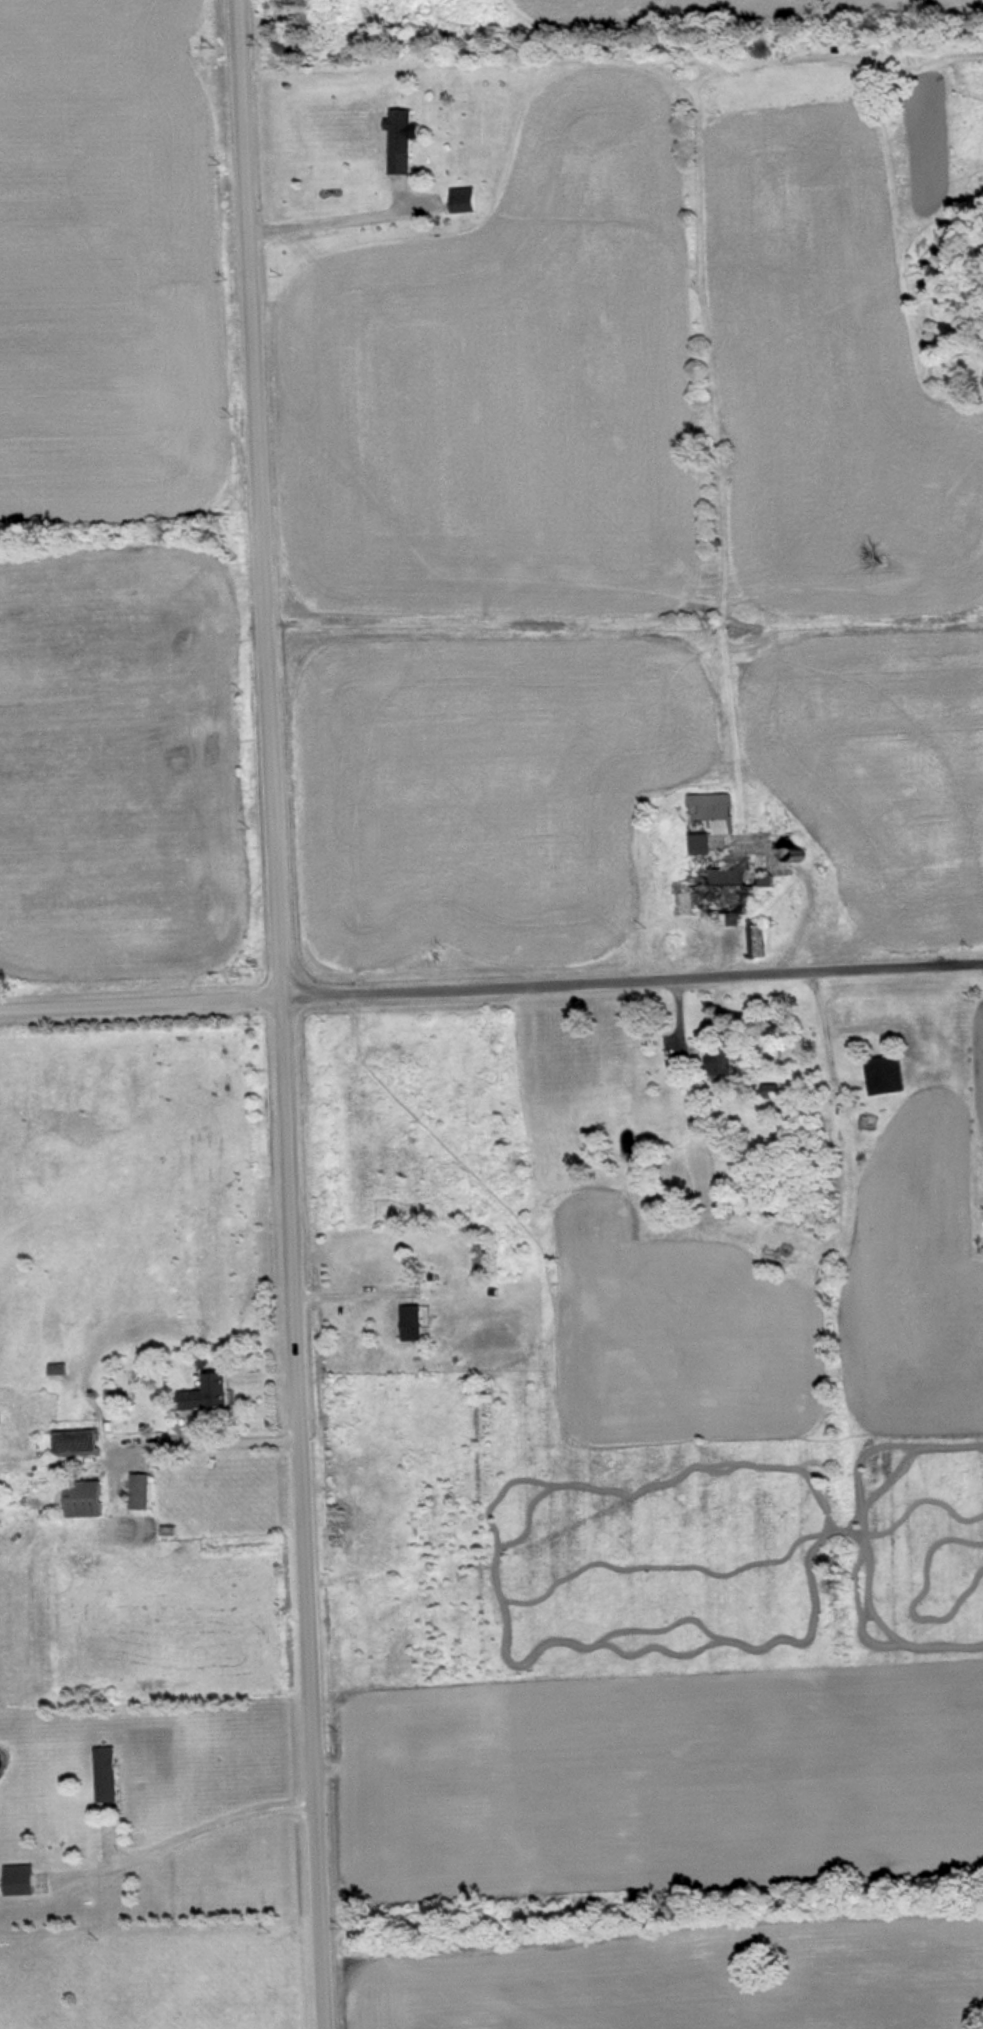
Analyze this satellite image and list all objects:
building: (406, 140)
building: (468, 199)
building: (708, 850)
building: (762, 940)
road: (491, 985)
road: (283, 1014)
building: (728, 1061)
building: (891, 1074)
building: (415, 1323)
building: (63, 1368)
building: (215, 1395)
building: (2, 1417)
building: (85, 1442)
building: (146, 1491)
building: (93, 1499)
building: (112, 1778)
building: (26, 1880)

